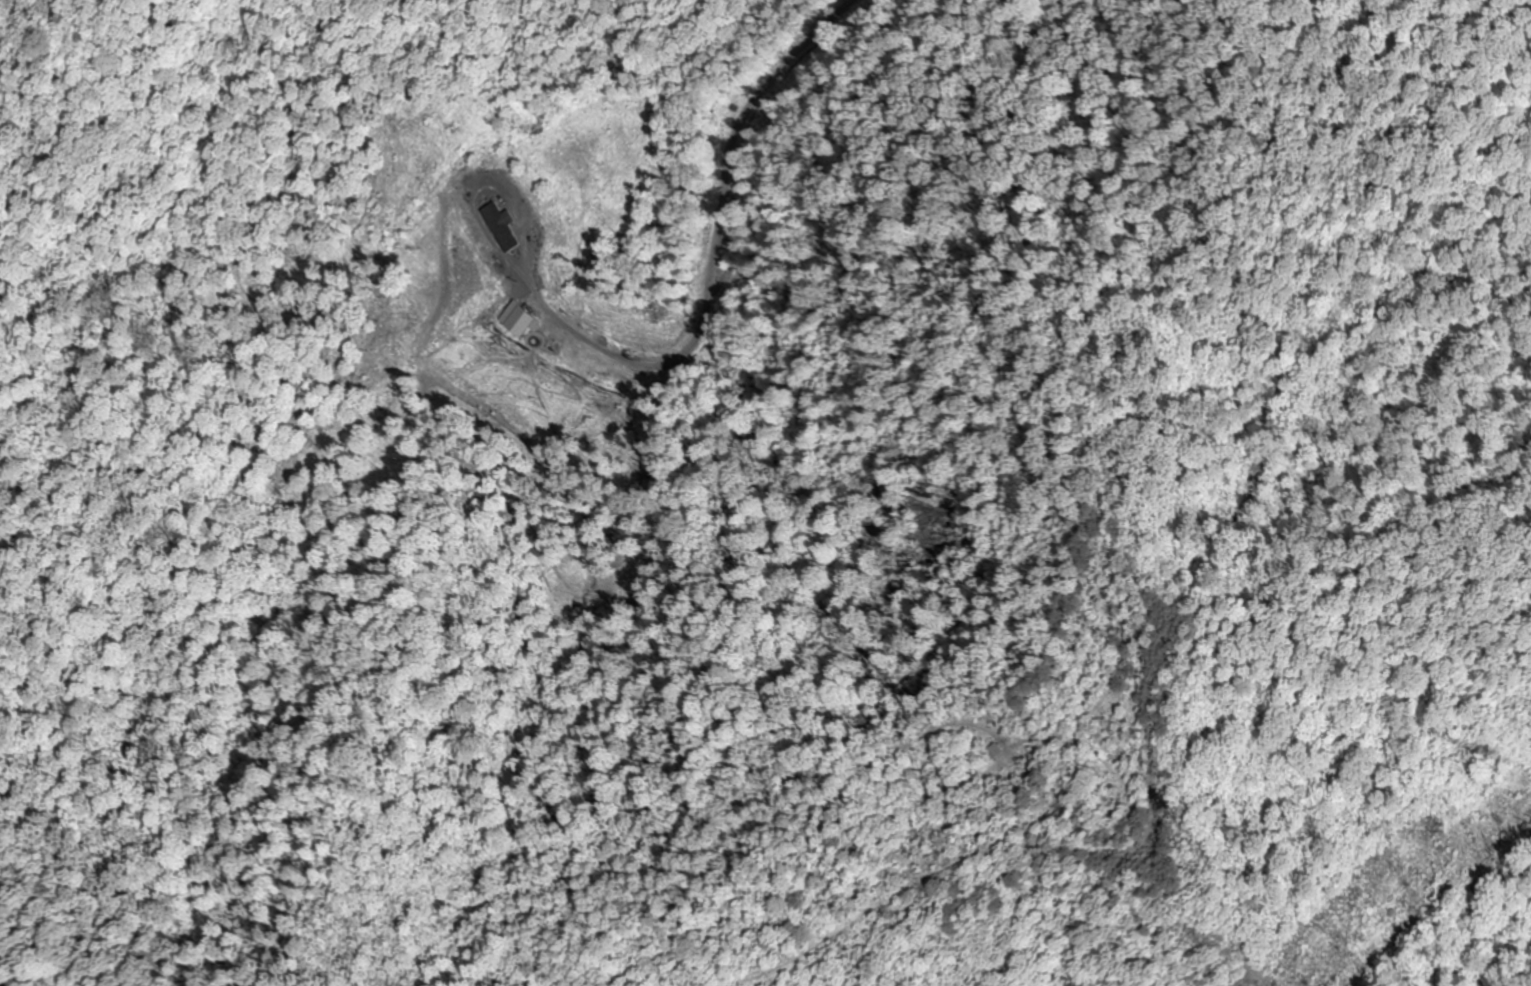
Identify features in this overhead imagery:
building: (497, 226)
building: (514, 321)
road: (94, 907)

